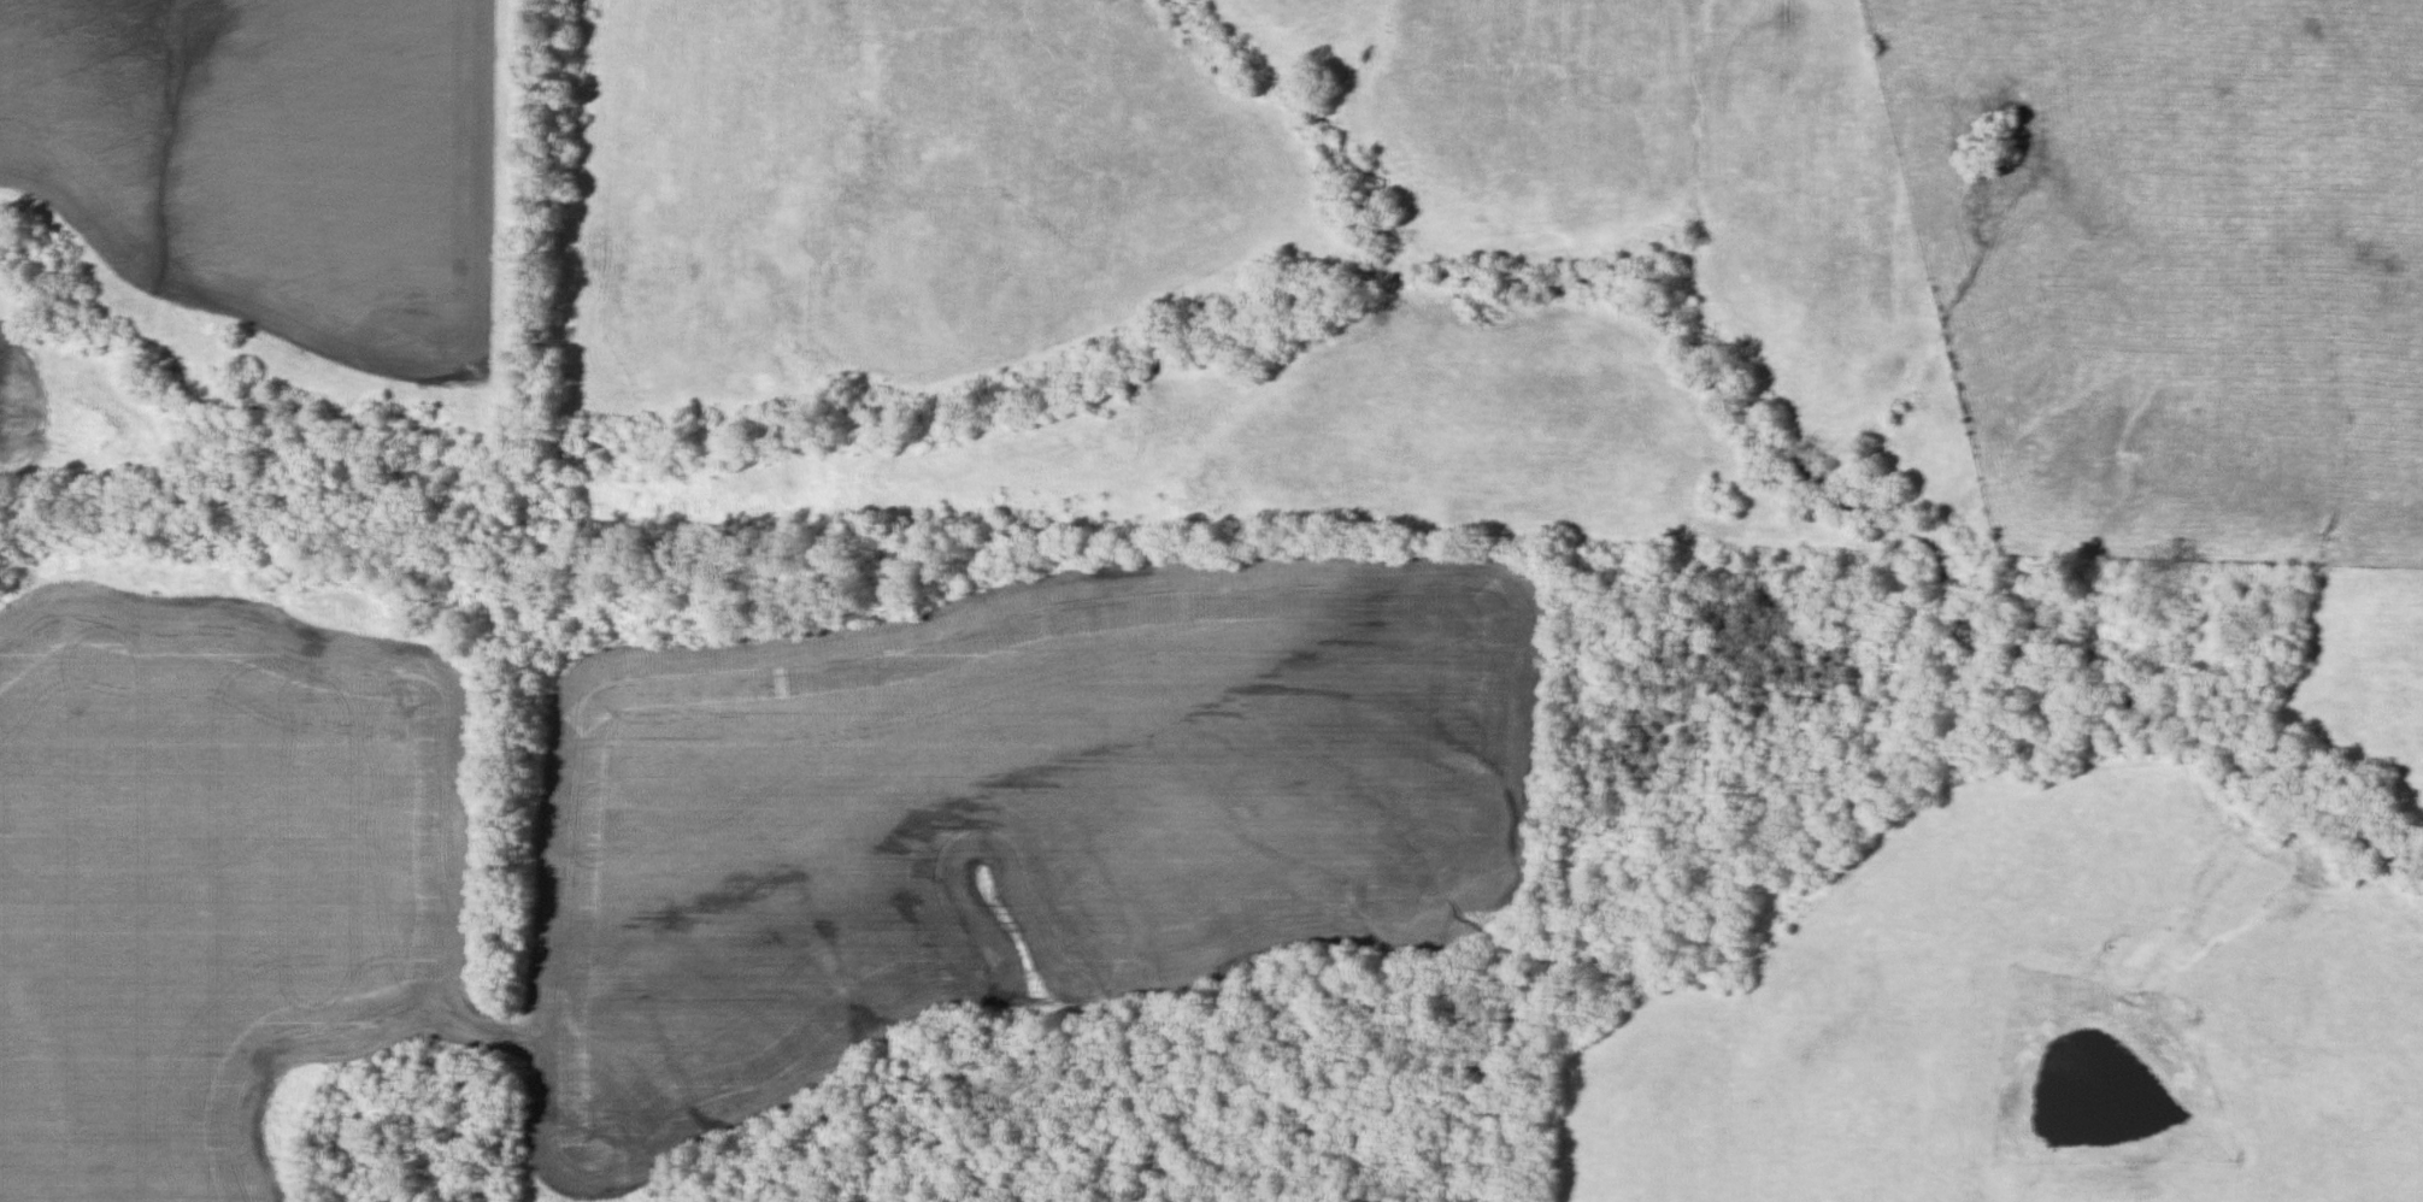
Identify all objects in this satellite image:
crop: (283, 179)
crop: (993, 820)
crop: (213, 878)

